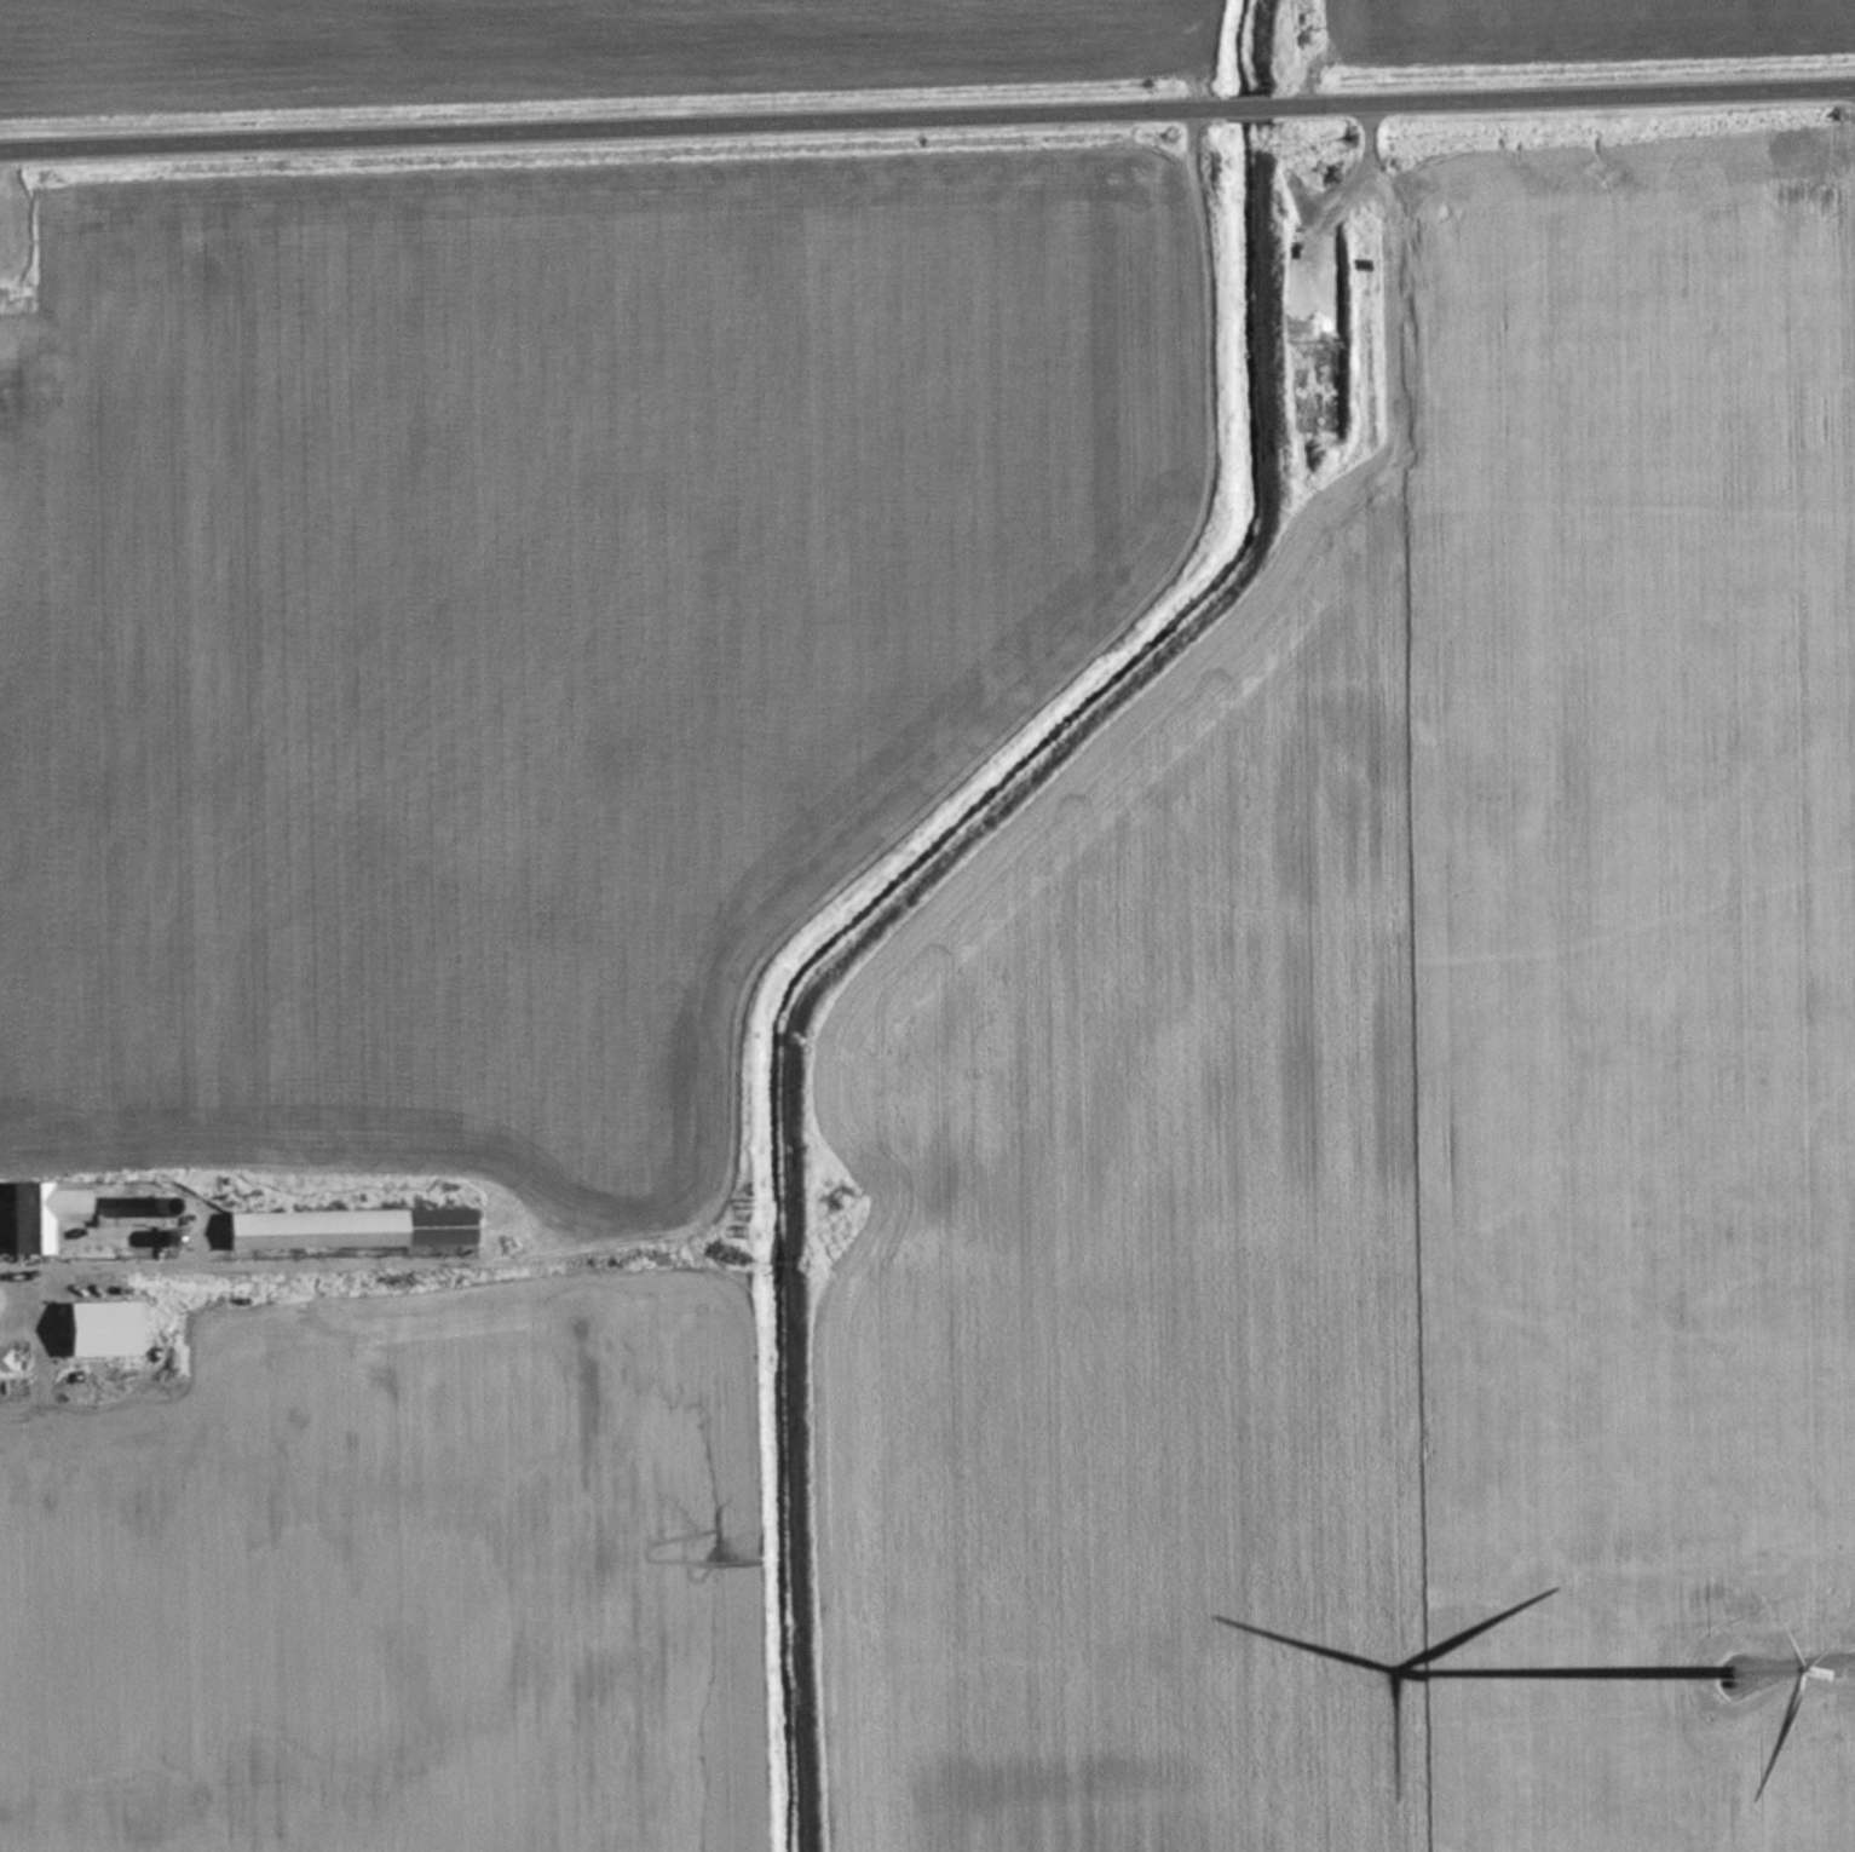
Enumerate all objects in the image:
road: (1565, 91)
road: (1240, 102)
road: (603, 121)
building: (38, 1212)
building: (345, 1227)
building: (83, 1324)
building: (2, 1359)
road: (1840, 1660)
wind turbine: (1733, 1673)

